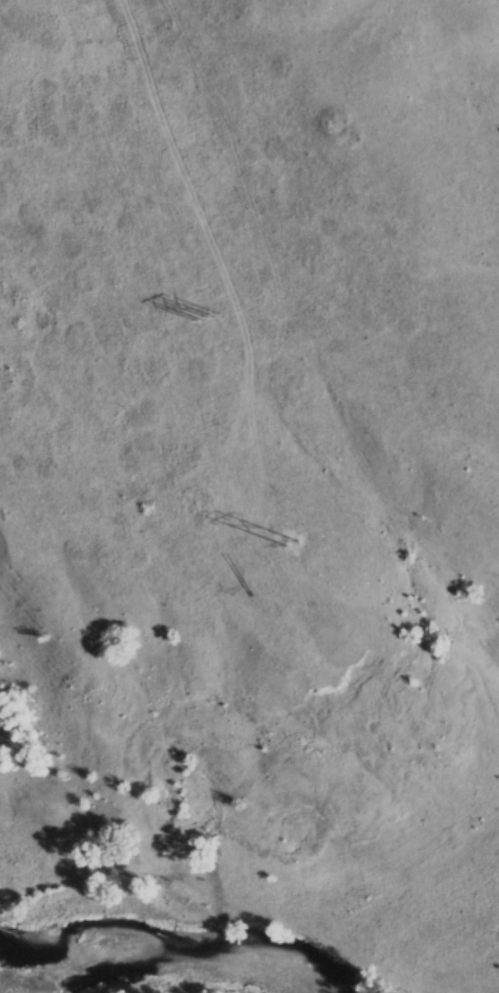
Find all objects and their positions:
power tower: (207, 319)
power tower: (338, 683)
river: (169, 949)

